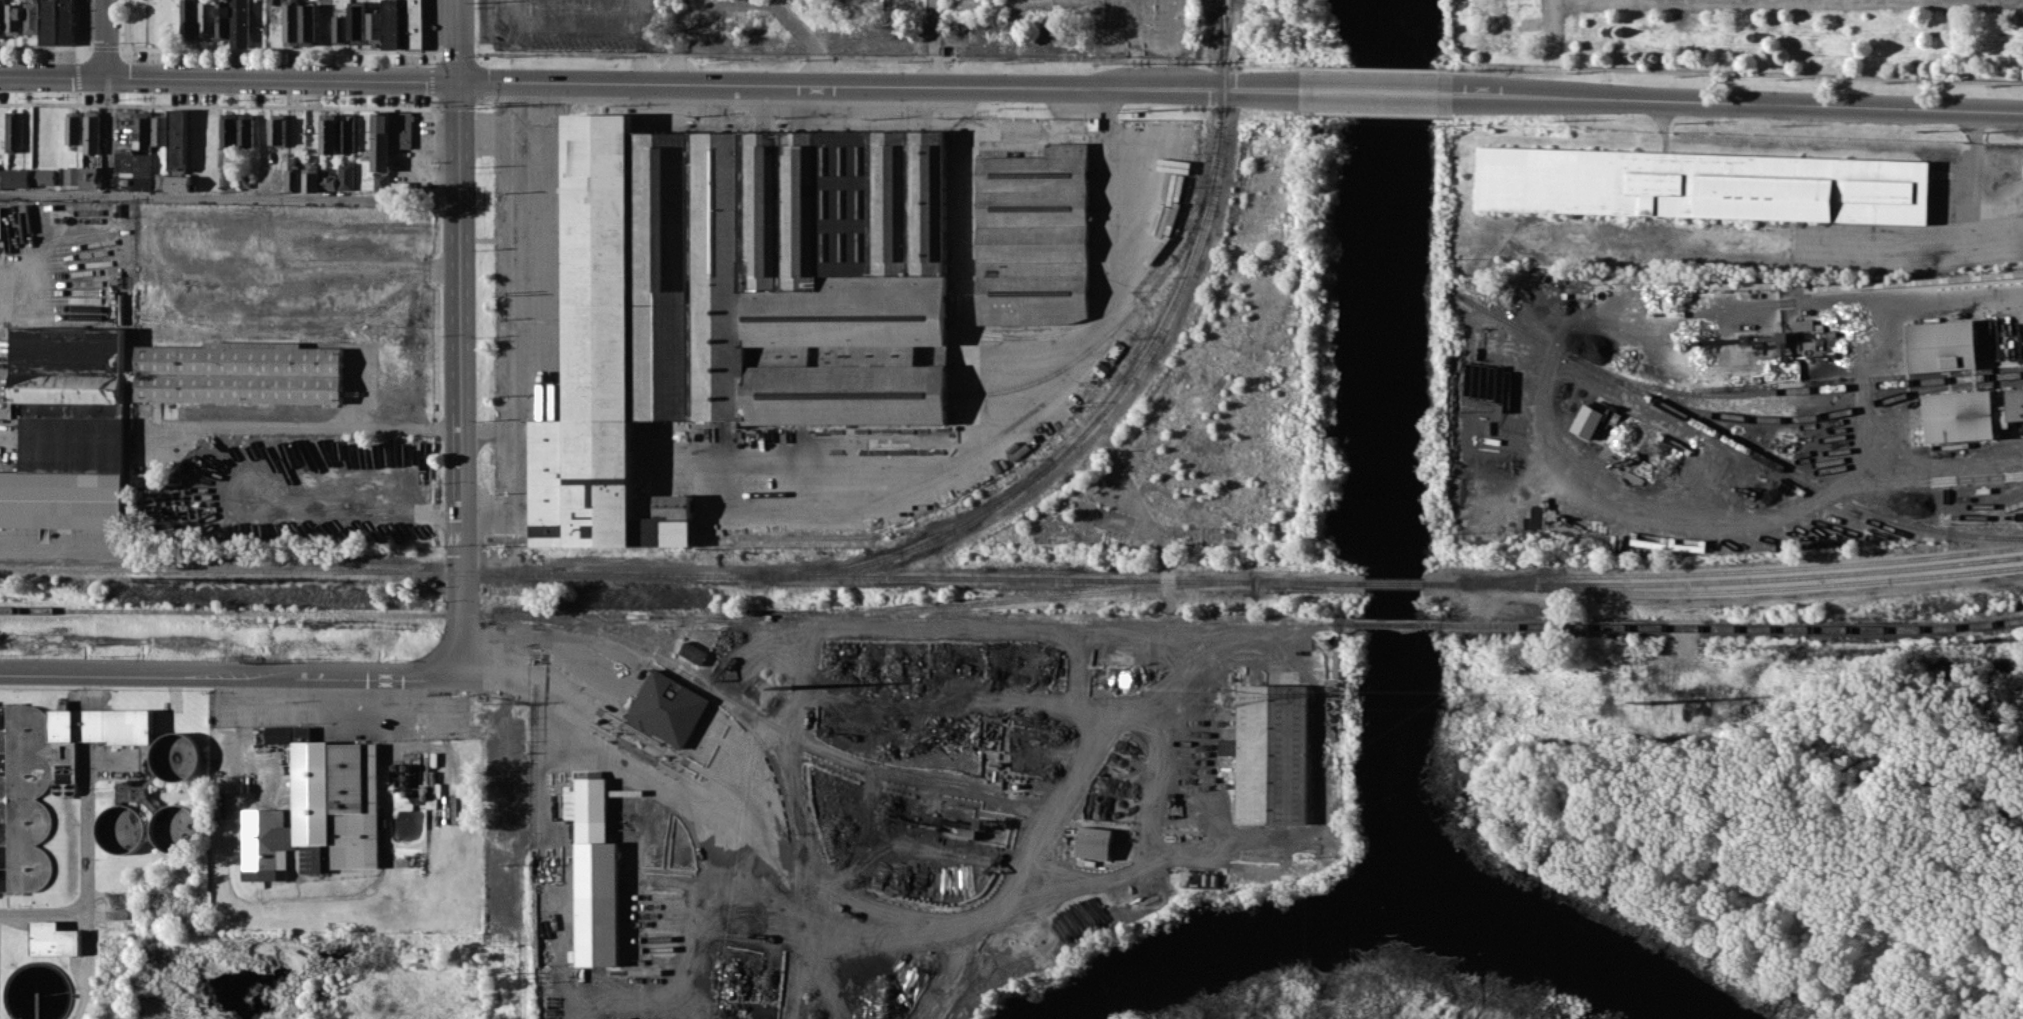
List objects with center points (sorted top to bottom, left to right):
road: (1551, 0)
road: (1636, 0)
building: (274, 2)
building: (1, 17)
building: (30, 17)
building: (13, 18)
building: (205, 18)
railway: (1220, 18)
building: (188, 19)
building: (56, 22)
building: (232, 22)
building: (290, 23)
building: (414, 23)
building: (308, 24)
building: (357, 24)
building: (386, 25)
road: (1552, 25)
building: (341, 29)
road: (97, 38)
road: (458, 40)
road: (229, 78)
traffic signals: (459, 81)
road: (886, 84)
road: (1383, 91)
road: (1737, 102)
building: (73, 128)
building: (227, 129)
building: (277, 129)
building: (143, 130)
building: (159, 130)
building: (244, 130)
building: (14, 131)
building: (328, 133)
building: (91, 134)
road: (106, 134)
building: (345, 134)
building: (389, 136)
building: (177, 139)
building: (132, 163)
building: (71, 175)
building: (345, 175)
building: (43, 176)
building: (1, 177)
building: (89, 177)
building: (17, 178)
building: (293, 179)
building: (311, 179)
building: (245, 180)
building: (381, 181)
building: (172, 182)
building: (328, 182)
building: (1703, 184)
road: (229, 192)
building: (1032, 235)
road: (1948, 291)
building: (732, 302)
railway: (1132, 309)
railway: (853, 317)
railway: (1073, 328)
railway: (981, 331)
railway: (853, 336)
building: (1940, 346)
road: (985, 354)
building: (239, 371)
road: (459, 377)
road: (361, 387)
railway: (1792, 389)
railway: (854, 393)
railway: (1118, 394)
railway: (1811, 415)
building: (1969, 415)
building: (1588, 420)
road: (300, 423)
building: (61, 426)
railway: (1728, 439)
railway: (879, 533)
railway: (508, 536)
railway: (609, 536)
road: (57, 546)
railway: (1742, 569)
railway: (770, 577)
railway: (1724, 581)
railway: (1395, 584)
railway: (1782, 586)
railway: (1017, 599)
railway: (676, 616)
railway: (1397, 624)
railway: (1732, 629)
road: (546, 641)
building: (692, 652)
road: (231, 671)
power tower: (761, 693)
power tower: (1224, 697)
building: (664, 708)
power tower: (1689, 711)
building: (100, 724)
railway: (752, 733)
building: (277, 734)
railway: (834, 753)
building: (1272, 754)
railway: (1094, 764)
building: (29, 794)
building: (317, 814)
building: (1091, 843)
wastewater plant: (172, 865)
building: (593, 875)
road: (86, 880)
river: (1376, 892)
road: (43, 912)
building: (53, 940)
railway: (956, 984)

